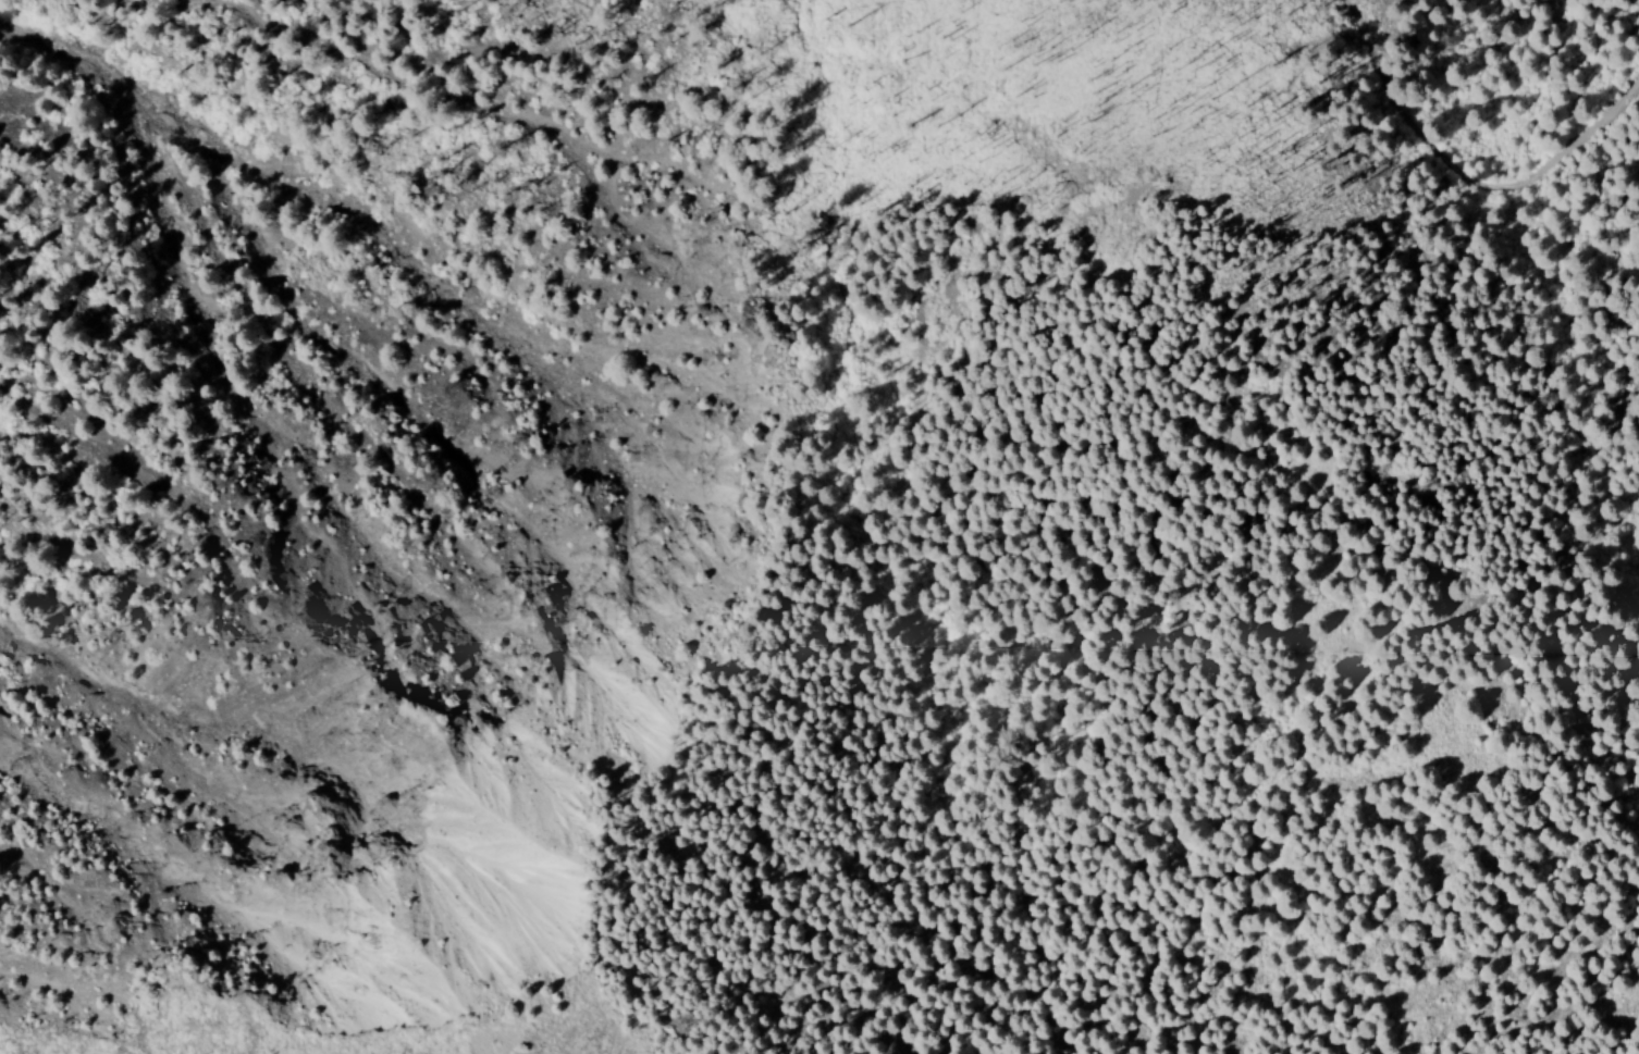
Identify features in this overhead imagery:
road: (1466, 178)

